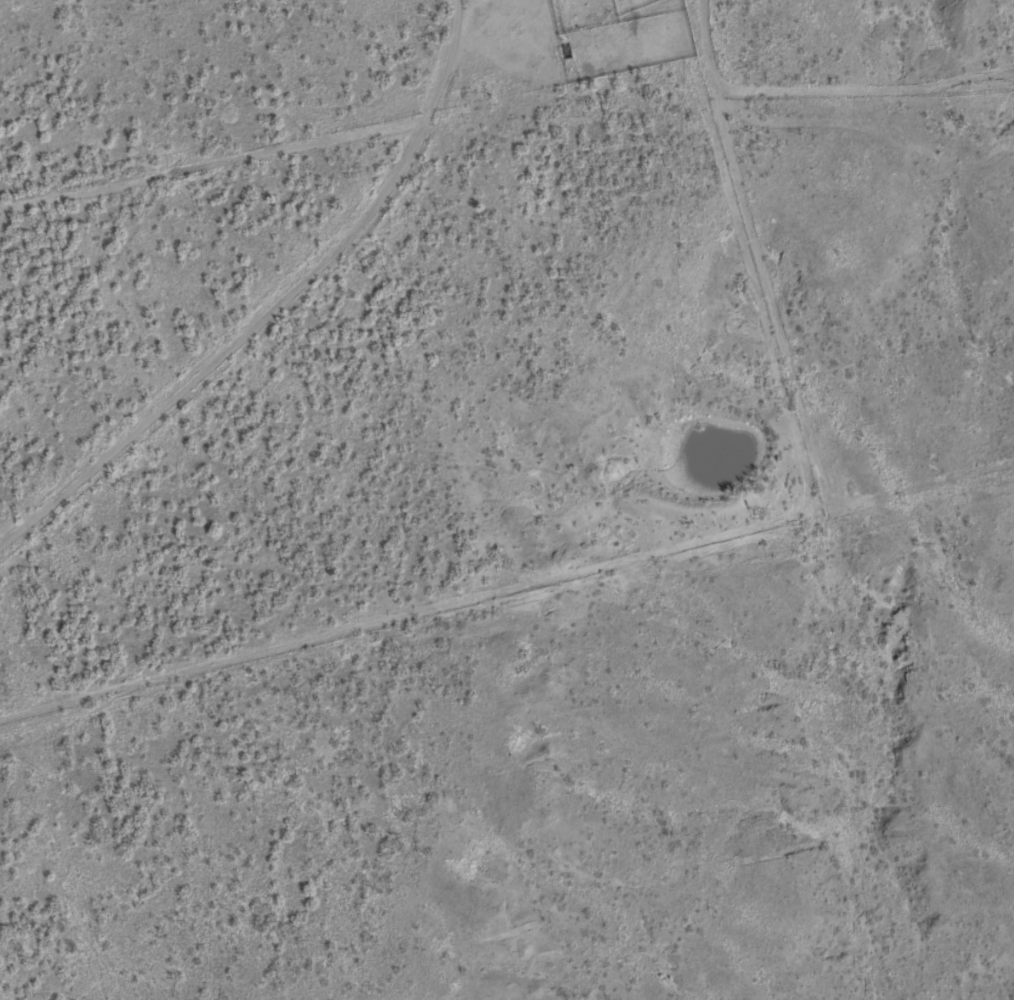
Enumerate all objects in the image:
road: (731, 110)
road: (273, 311)
road: (29, 718)

